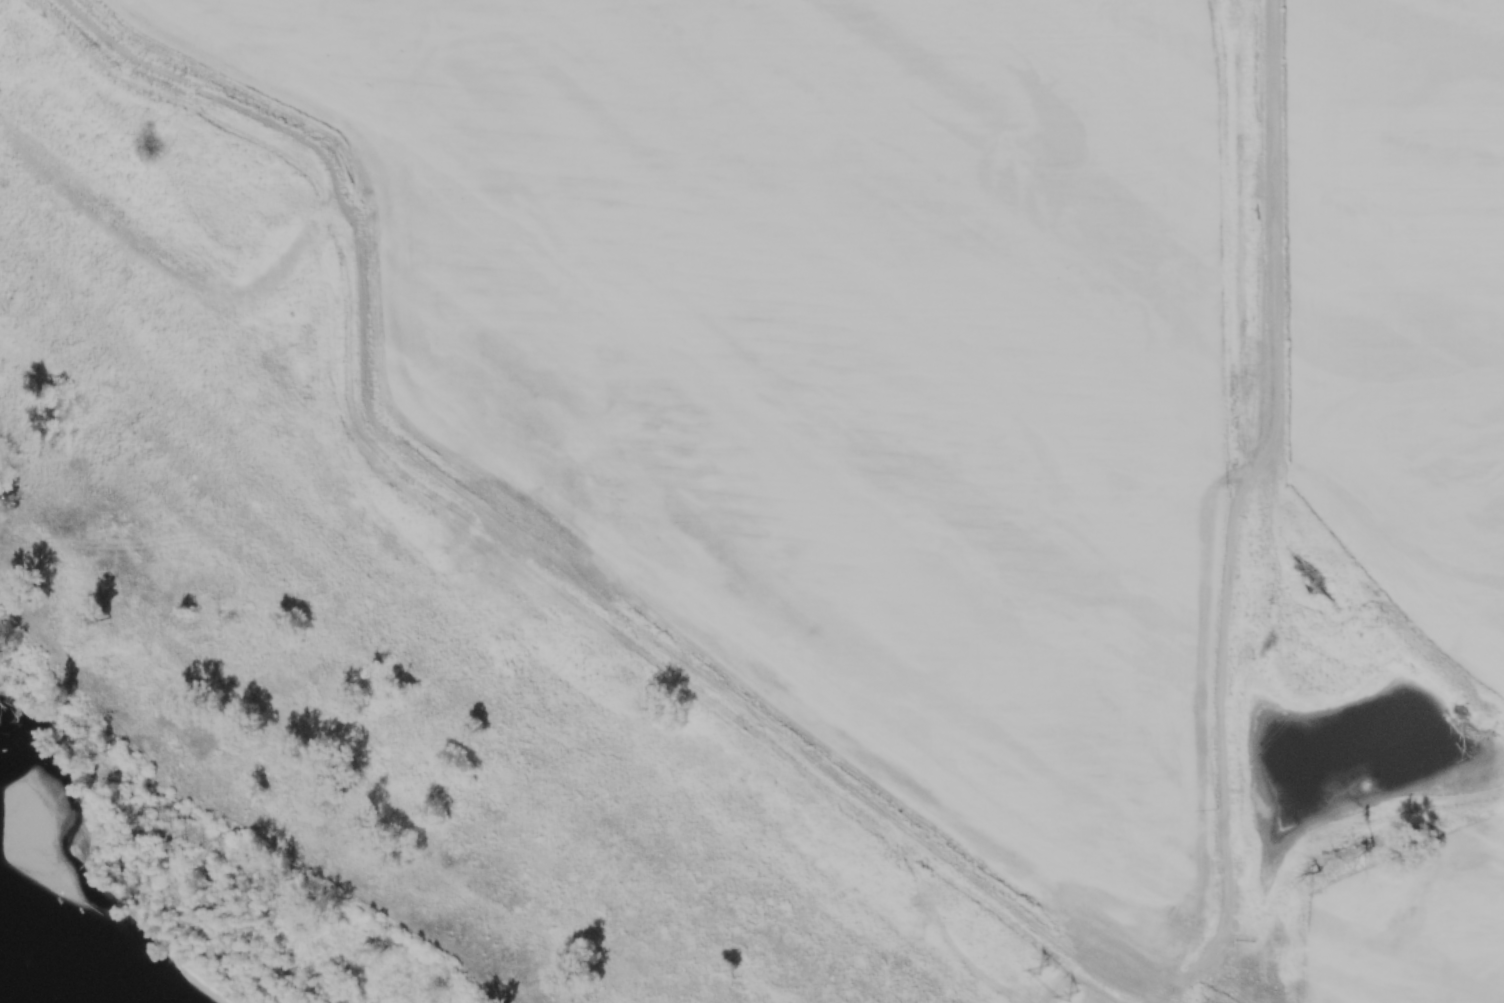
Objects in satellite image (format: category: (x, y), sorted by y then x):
road: (1272, 58)
power tower: (1386, 627)
power tower: (1219, 809)
power tower: (1059, 983)

